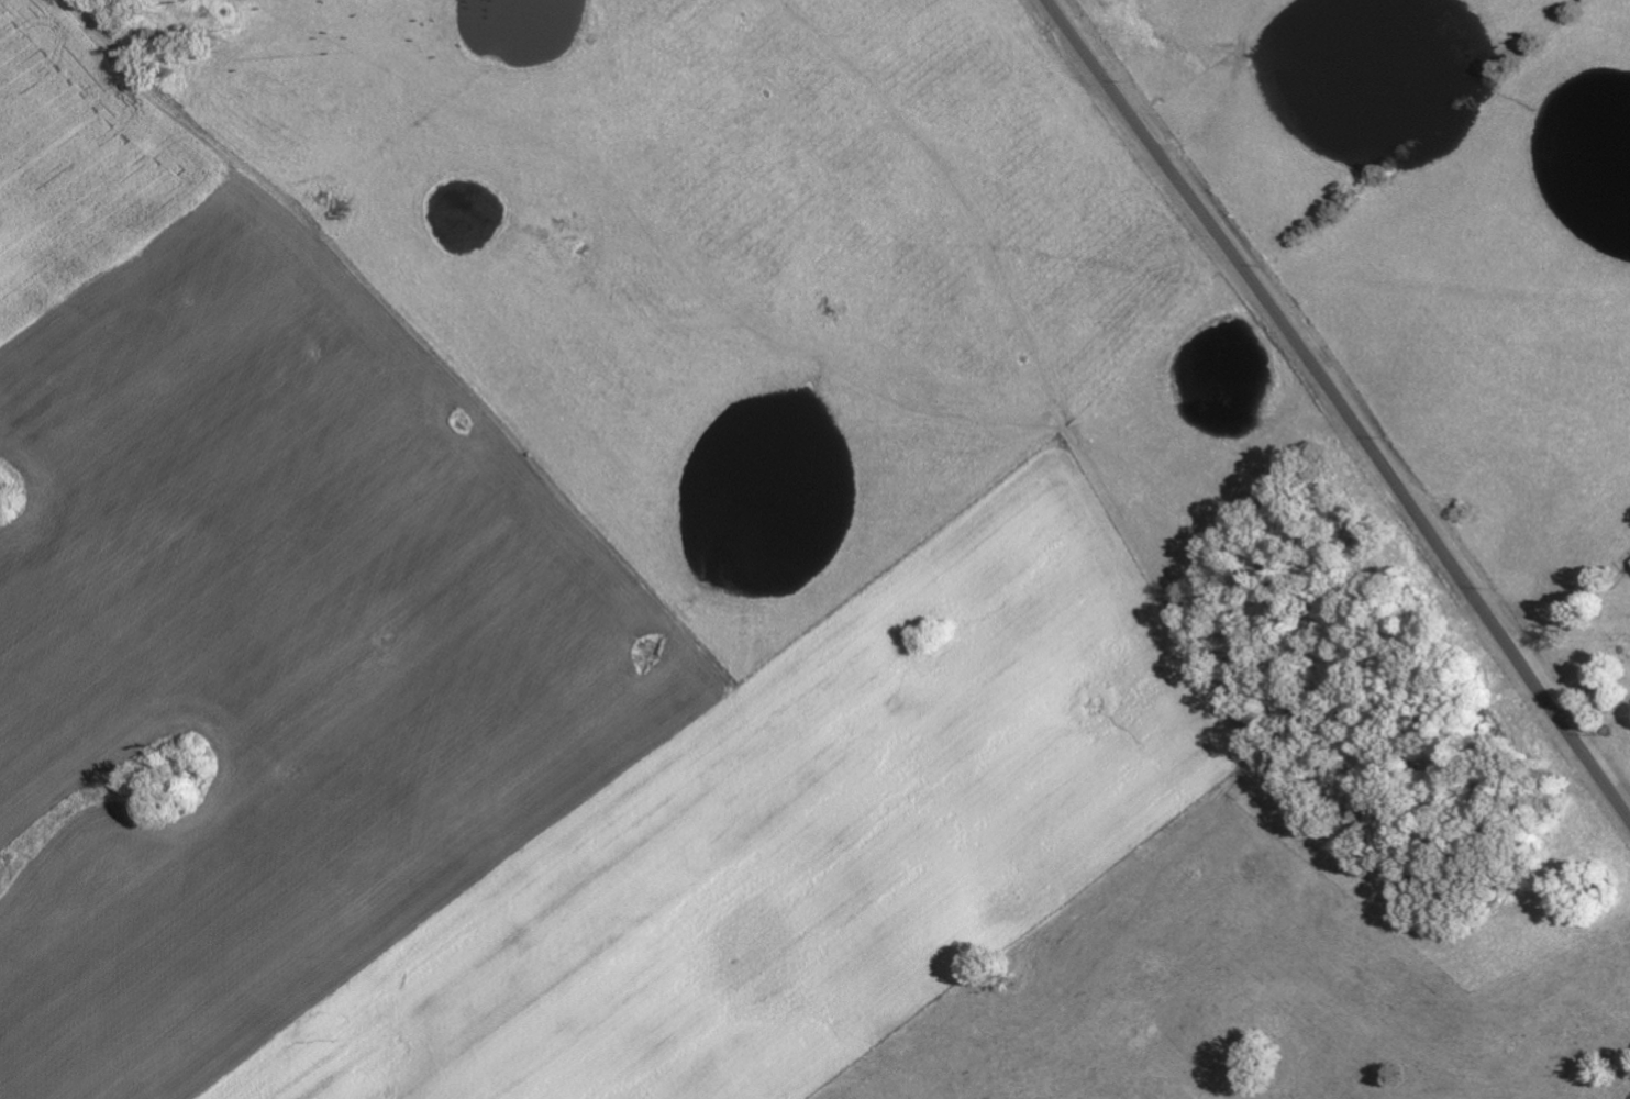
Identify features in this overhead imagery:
road: (1340, 407)
road: (1597, 709)

